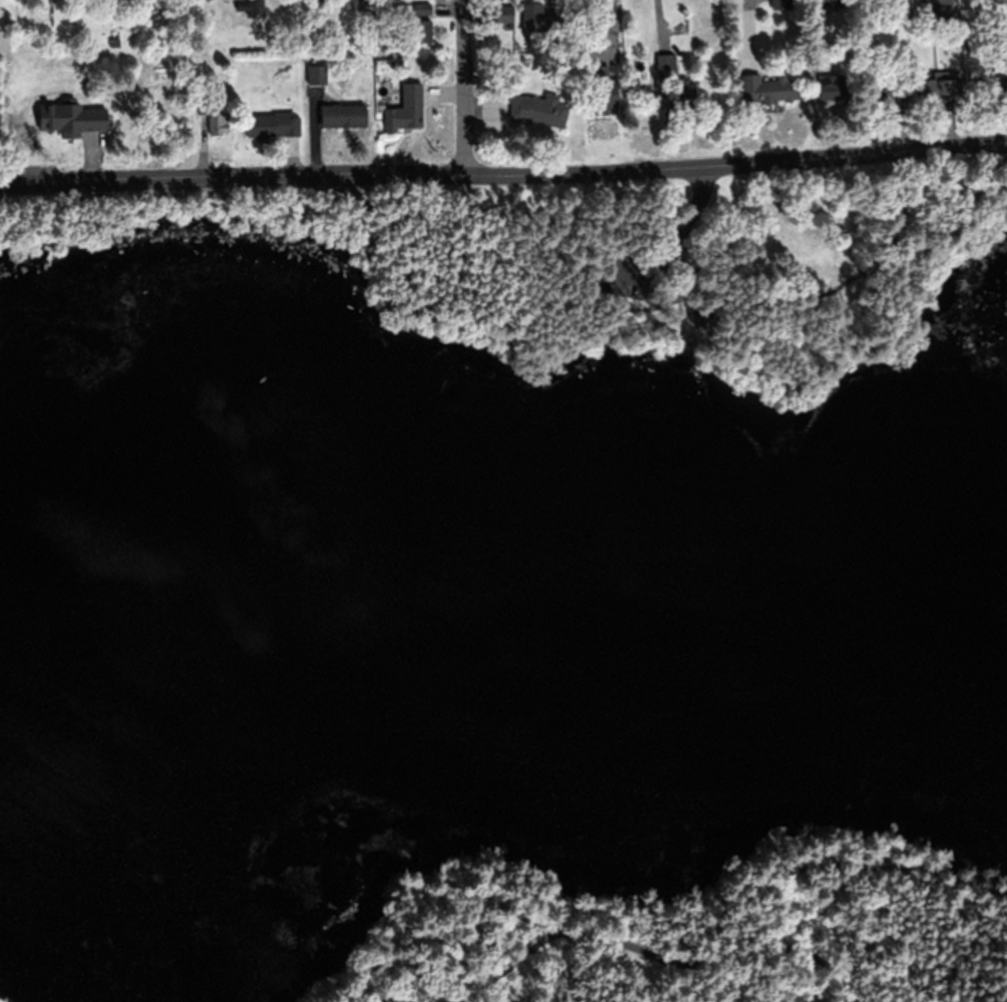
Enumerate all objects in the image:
building: (366, 1)
building: (832, 2)
building: (4, 4)
building: (781, 5)
building: (896, 6)
building: (936, 6)
building: (253, 8)
building: (422, 8)
building: (521, 15)
building: (987, 17)
building: (119, 23)
building: (421, 30)
building: (364, 35)
building: (114, 42)
building: (1, 43)
building: (534, 44)
building: (381, 64)
building: (667, 70)
building: (316, 74)
building: (887, 84)
road: (462, 87)
building: (828, 87)
building: (998, 87)
building: (602, 88)
building: (939, 89)
building: (776, 90)
building: (679, 99)
building: (405, 108)
building: (539, 109)
building: (69, 118)
building: (213, 118)
building: (354, 118)
building: (31, 122)
building: (272, 124)
road: (993, 144)
road: (670, 169)
road: (180, 176)
road: (680, 243)
building: (692, 256)
parking lot: (649, 260)
road: (856, 276)
road: (502, 294)
park: (507, 590)
river: (505, 597)
road: (876, 875)
road: (601, 938)
road: (823, 964)

